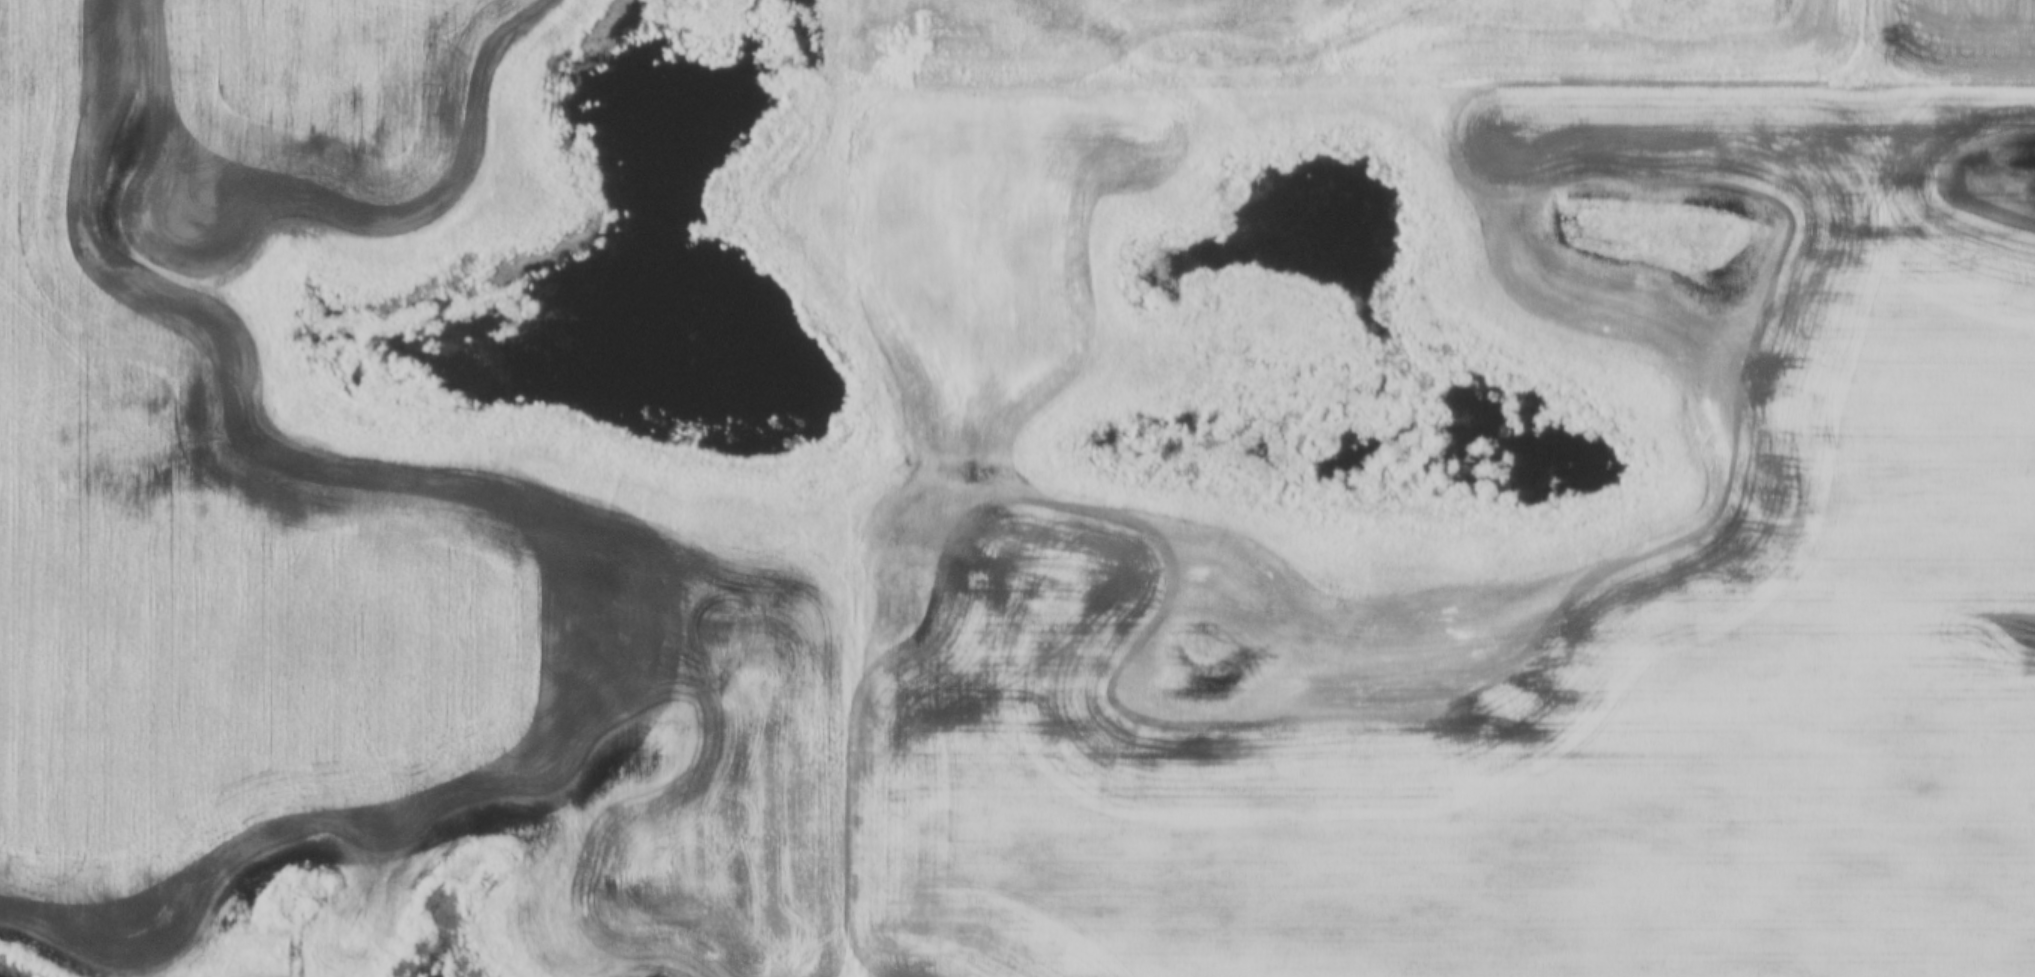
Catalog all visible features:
building: (1627, 904)

